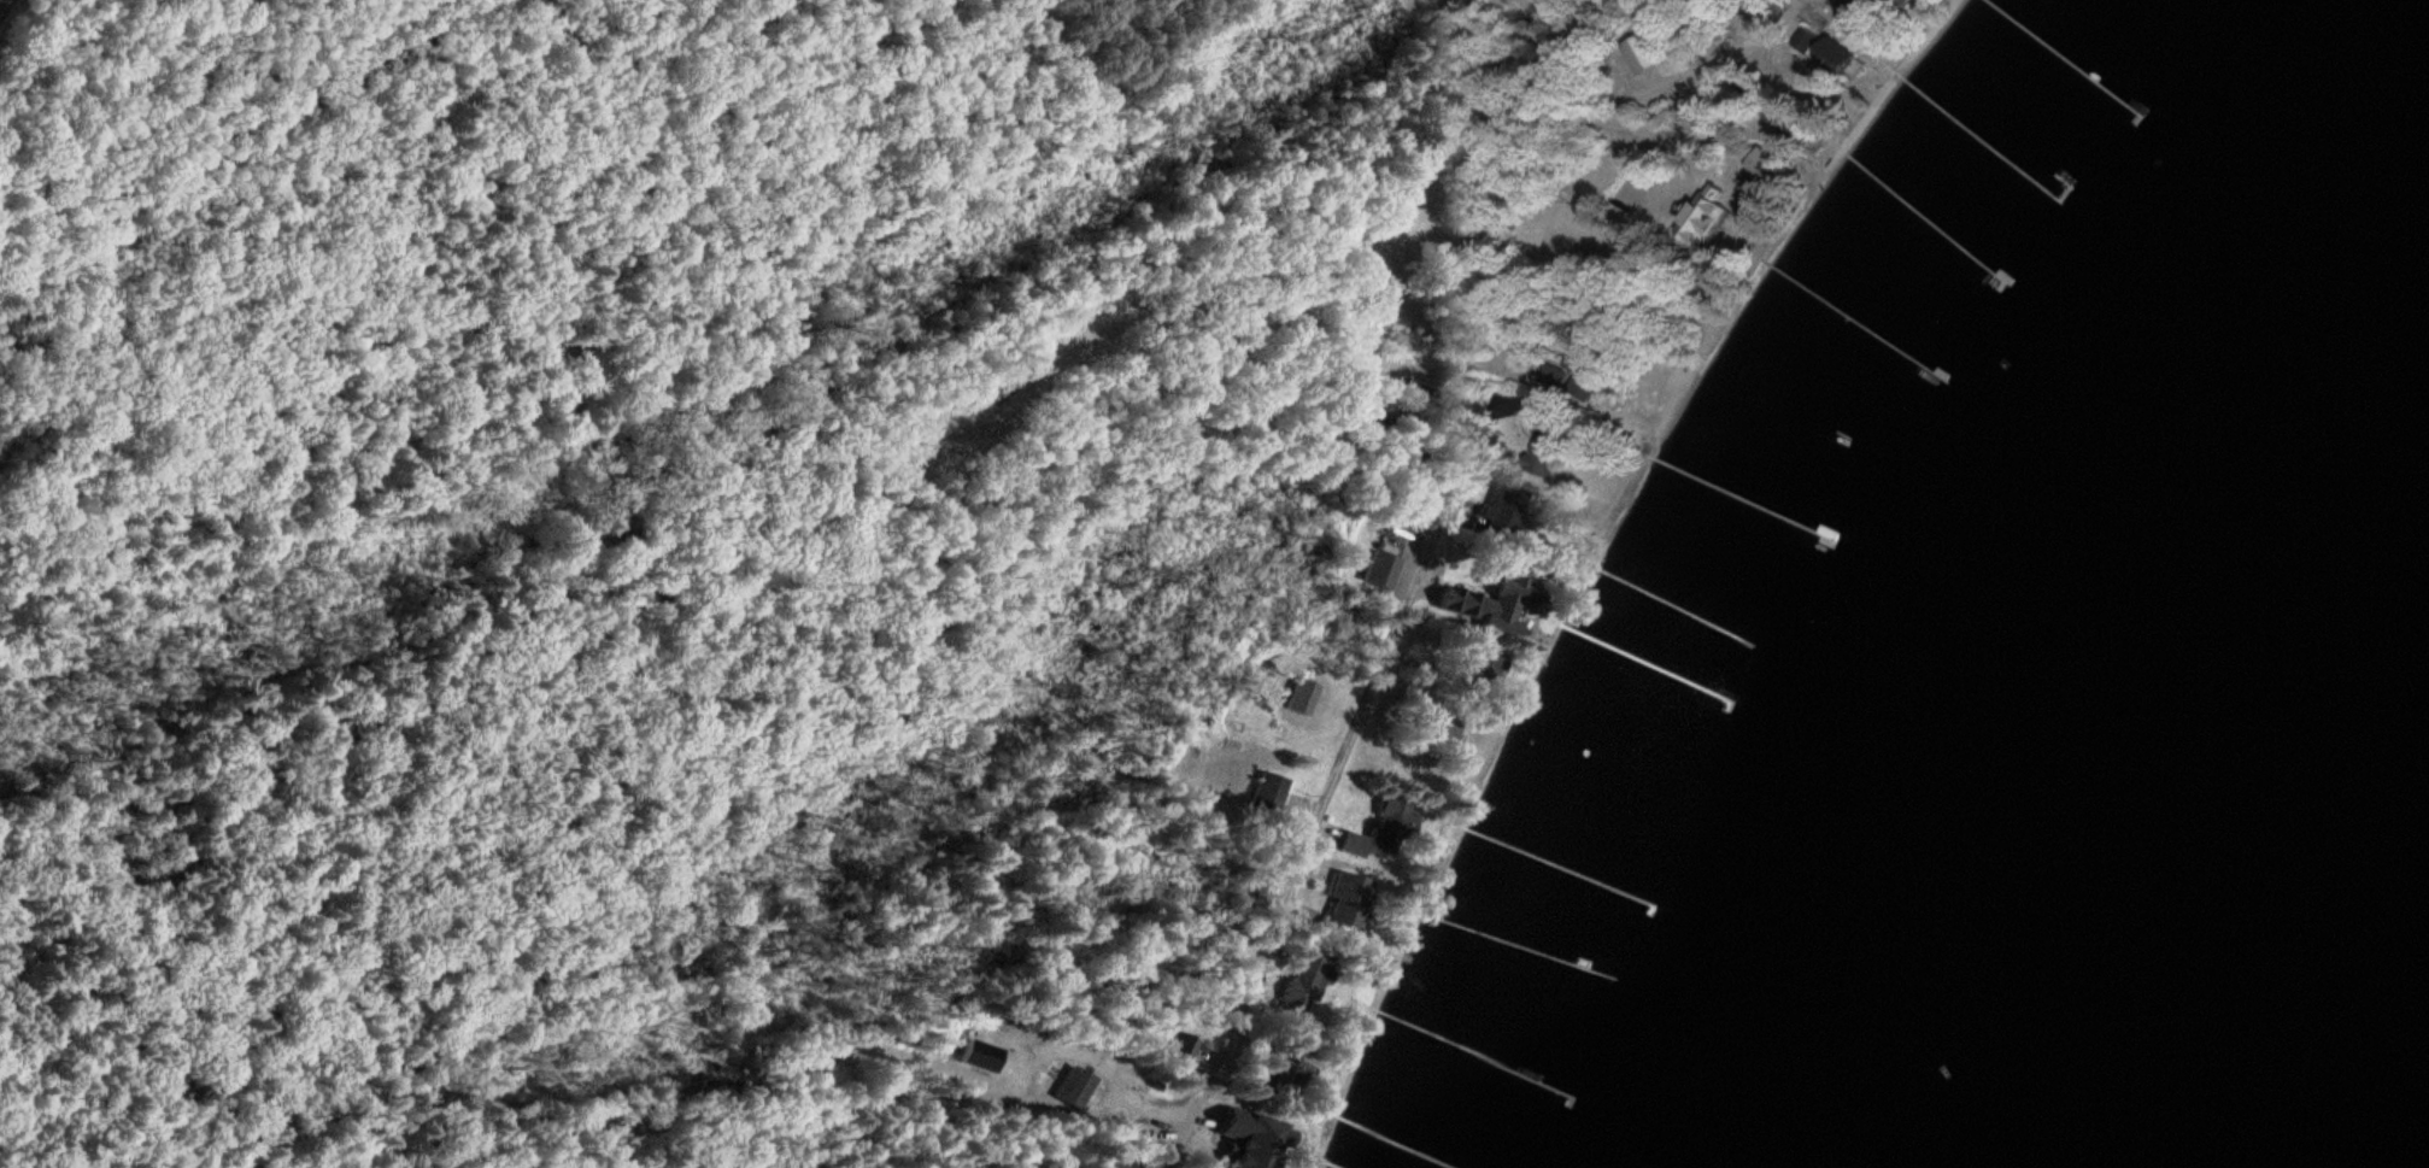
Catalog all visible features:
building: (1901, 2)
road: (1780, 6)
building: (1641, 55)
building: (1827, 55)
road: (1576, 115)
building: (1368, 583)
road: (656, 591)
road: (1381, 642)
building: (1295, 702)
building: (1442, 738)
building: (1260, 797)
road: (1222, 1044)
building: (1068, 1091)

